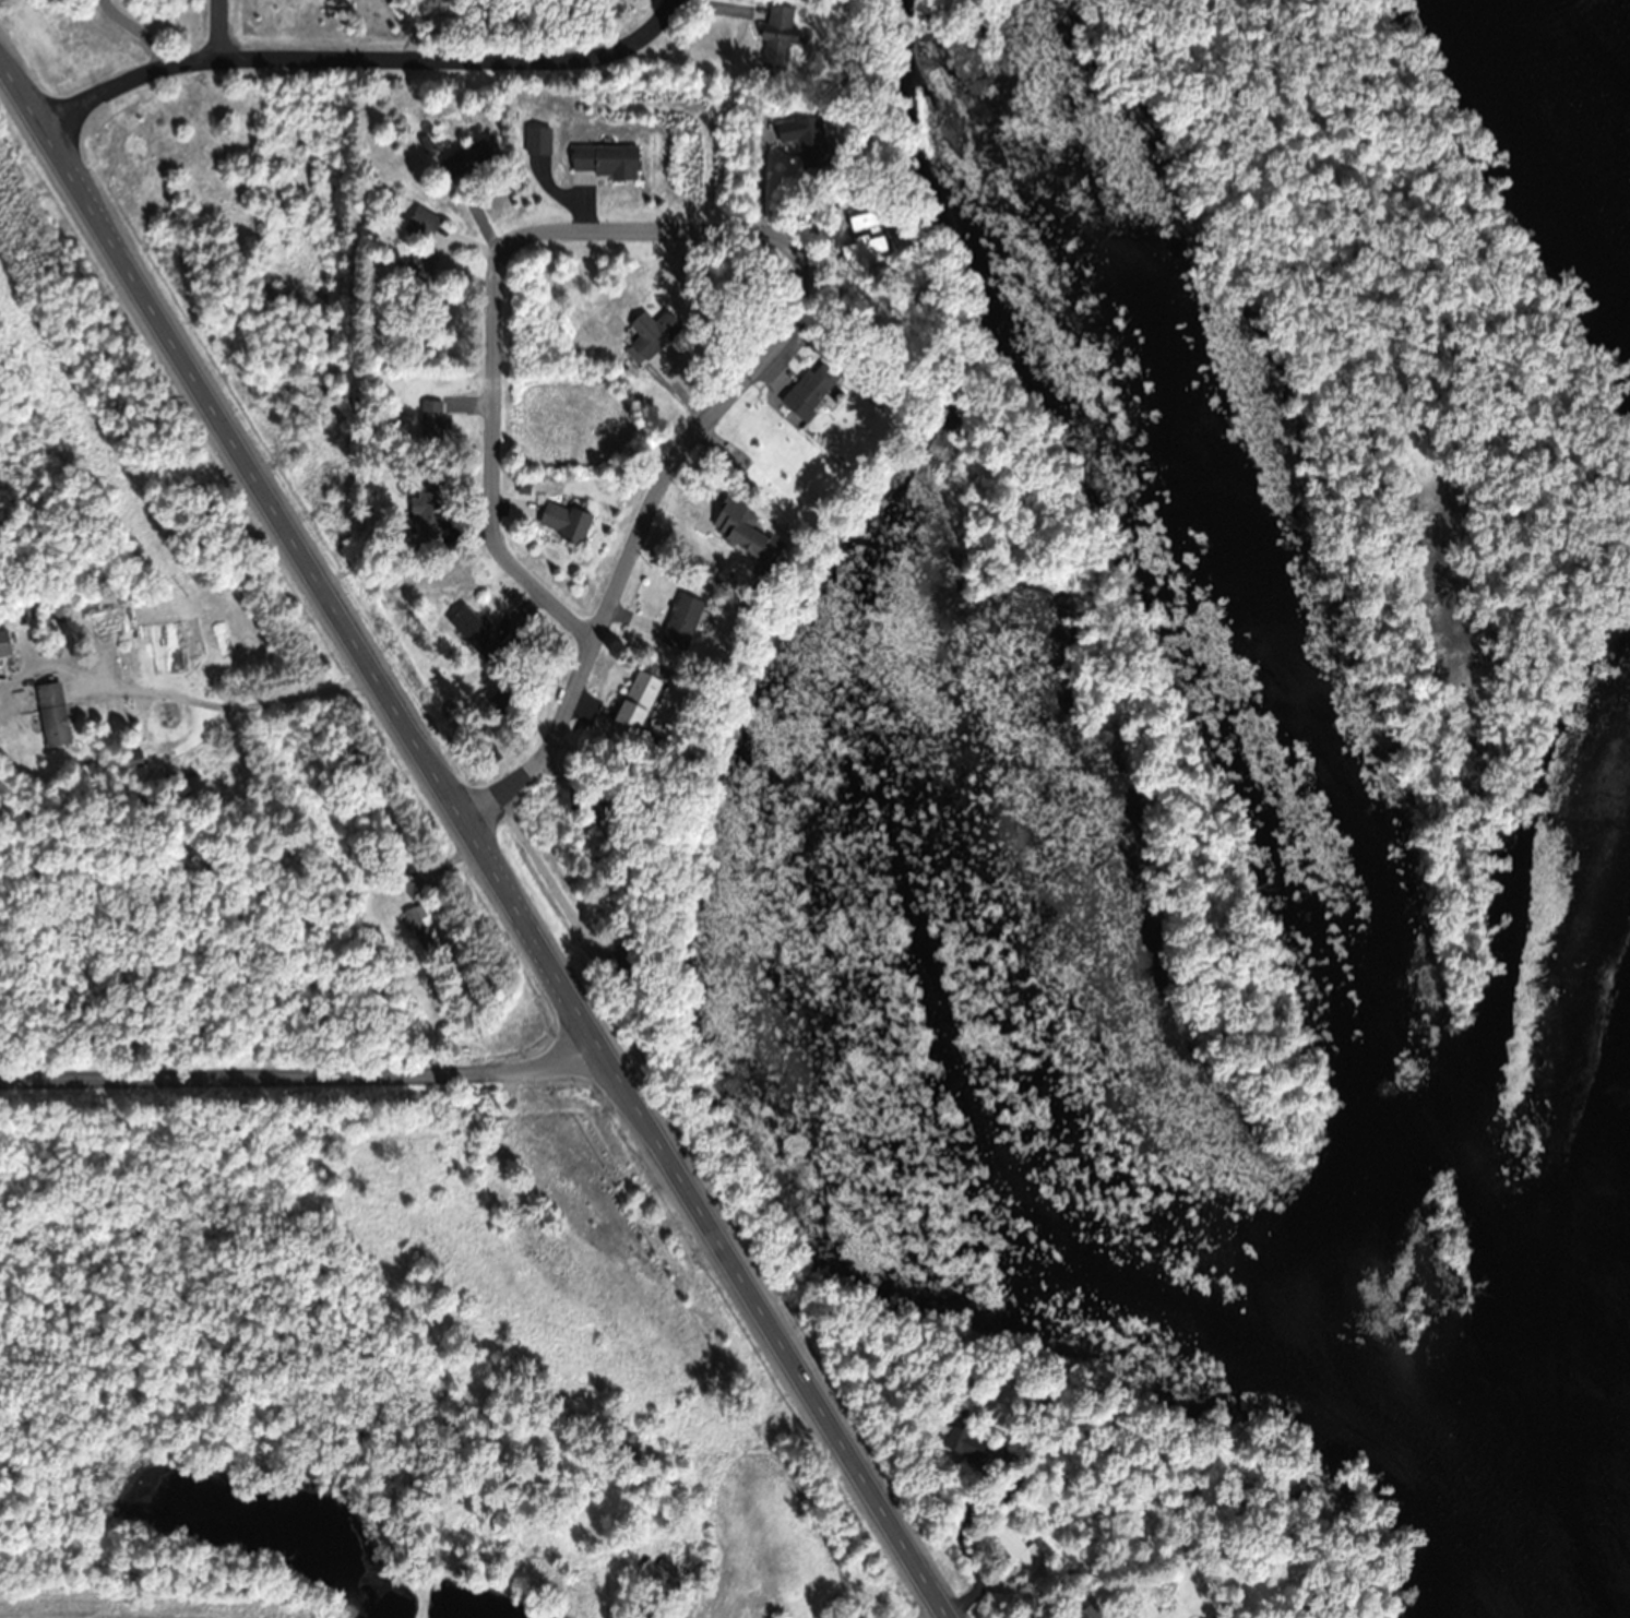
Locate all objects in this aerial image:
road: (225, 27)
building: (778, 35)
road: (357, 57)
building: (807, 140)
building: (538, 141)
building: (472, 157)
building: (607, 160)
building: (865, 219)
building: (423, 222)
building: (865, 248)
building: (424, 260)
building: (653, 336)
road: (776, 344)
building: (822, 374)
building: (431, 418)
road: (490, 440)
building: (429, 507)
building: (566, 520)
building: (746, 528)
building: (61, 609)
building: (683, 620)
building: (474, 630)
building: (4, 643)
building: (638, 702)
building: (53, 713)
road: (545, 743)
building: (135, 754)
road: (471, 843)
building: (414, 883)
building: (418, 924)
building: (620, 951)
road: (299, 1076)
building: (1554, 1099)
building: (963, 1436)
building: (1018, 1545)

